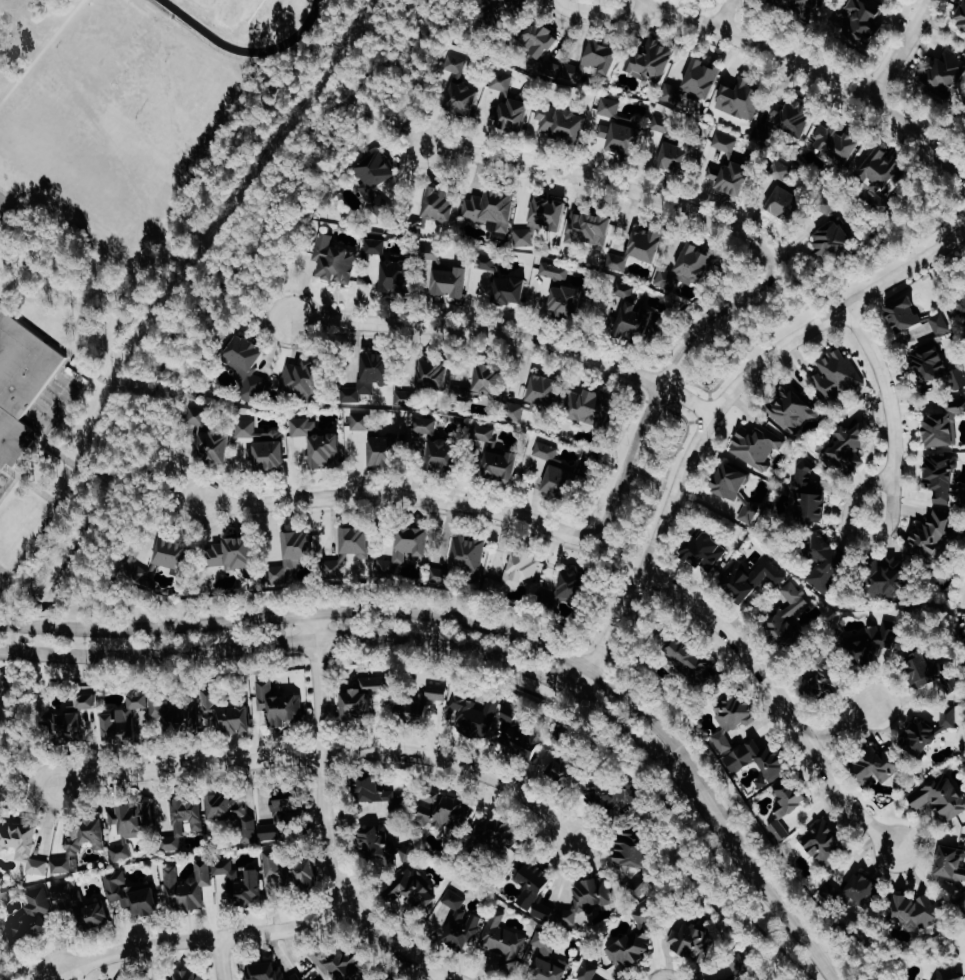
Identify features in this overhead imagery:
building: (517, 3)
park: (221, 7)
road: (703, 7)
building: (801, 7)
road: (740, 9)
road: (604, 13)
road: (724, 15)
building: (489, 16)
road: (721, 18)
building: (961, 18)
building: (863, 22)
track: (201, 27)
building: (539, 40)
road: (916, 47)
road: (902, 49)
building: (652, 57)
building: (593, 61)
road: (764, 64)
road: (842, 67)
building: (943, 72)
road: (821, 76)
building: (693, 82)
road: (874, 87)
building: (459, 89)
building: (739, 98)
building: (510, 102)
road: (385, 123)
building: (560, 123)
building: (785, 123)
road: (928, 127)
building: (619, 129)
building: (835, 144)
building: (670, 148)
building: (729, 168)
building: (878, 176)
building: (376, 178)
road: (608, 182)
building: (785, 191)
park: (3, 202)
building: (490, 206)
building: (430, 209)
building: (542, 224)
building: (589, 225)
building: (831, 230)
building: (639, 247)
road: (903, 250)
building: (333, 260)
building: (392, 266)
building: (685, 269)
building: (442, 271)
building: (501, 280)
building: (561, 291)
road: (208, 293)
road: (267, 299)
building: (960, 305)
road: (252, 306)
building: (913, 316)
road: (716, 320)
building: (632, 321)
road: (508, 336)
road: (745, 352)
building: (245, 366)
building: (935, 366)
building: (371, 373)
building: (836, 373)
building: (426, 377)
building: (305, 378)
building: (483, 380)
building: (20, 381)
road: (888, 395)
building: (535, 396)
building: (588, 405)
road: (700, 405)
building: (790, 408)
road: (716, 410)
building: (942, 422)
building: (210, 437)
building: (377, 441)
building: (263, 444)
building: (318, 444)
building: (436, 444)
building: (754, 445)
building: (849, 447)
building: (497, 457)
building: (558, 473)
road: (666, 474)
building: (941, 478)
road: (164, 485)
building: (733, 487)
building: (807, 489)
road: (484, 511)
road: (895, 511)
road: (52, 514)
building: (933, 537)
building: (348, 548)
building: (401, 549)
building: (702, 549)
building: (233, 552)
building: (291, 552)
building: (160, 557)
building: (461, 559)
building: (825, 559)
building: (513, 572)
building: (886, 577)
building: (749, 578)
building: (567, 587)
road: (386, 612)
building: (784, 618)
road: (375, 638)
building: (869, 642)
road: (314, 654)
building: (692, 659)
building: (928, 670)
road: (118, 676)
road: (1, 680)
building: (820, 681)
building: (369, 698)
road: (778, 702)
building: (427, 703)
building: (278, 704)
building: (228, 713)
building: (729, 714)
building: (130, 718)
building: (78, 721)
building: (494, 723)
road: (846, 726)
building: (926, 731)
road: (618, 742)
road: (327, 751)
building: (758, 761)
building: (874, 764)
building: (570, 771)
road: (28, 778)
building: (615, 790)
building: (941, 796)
building: (290, 801)
building: (785, 803)
building: (449, 813)
building: (235, 814)
building: (131, 826)
road: (326, 827)
building: (273, 831)
building: (502, 834)
building: (81, 843)
building: (825, 843)
building: (25, 845)
building: (386, 846)
building: (634, 847)
building: (950, 862)
building: (289, 871)
building: (242, 883)
building: (188, 886)
road: (770, 887)
building: (414, 889)
building: (538, 889)
building: (851, 890)
building: (596, 893)
building: (132, 894)
building: (961, 901)
building: (914, 908)
building: (85, 913)
building: (644, 914)
building: (464, 921)
road: (203, 938)
building: (504, 939)
building: (694, 940)
building: (630, 949)
road: (221, 958)
building: (550, 960)
building: (342, 964)
road: (781, 969)
building: (271, 972)
building: (948, 974)
building: (191, 975)
road: (49, 977)
building: (378, 978)
road: (446, 978)
building: (719, 979)

